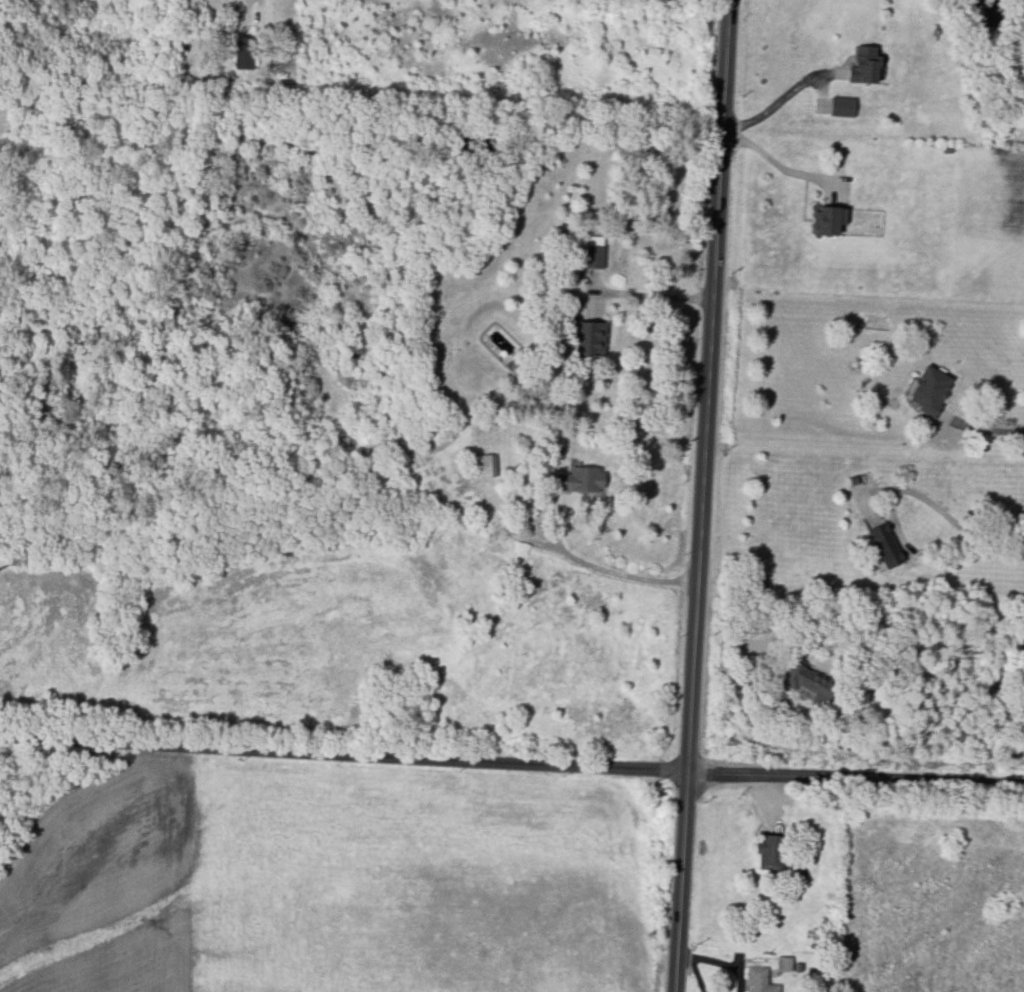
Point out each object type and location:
road: (249, 8)
building: (244, 53)
building: (864, 65)
road: (780, 99)
building: (842, 106)
crop: (19, 128)
road: (777, 162)
building: (828, 219)
building: (594, 256)
road: (649, 295)
building: (589, 339)
building: (930, 390)
road: (988, 429)
building: (485, 466)
building: (578, 480)
road: (704, 495)
road: (890, 503)
road: (1007, 540)
building: (884, 545)
road: (624, 575)
crop: (232, 634)
road: (892, 642)
building: (807, 682)
road: (345, 752)
road: (857, 778)
building: (768, 852)
building: (783, 963)
building: (759, 980)

